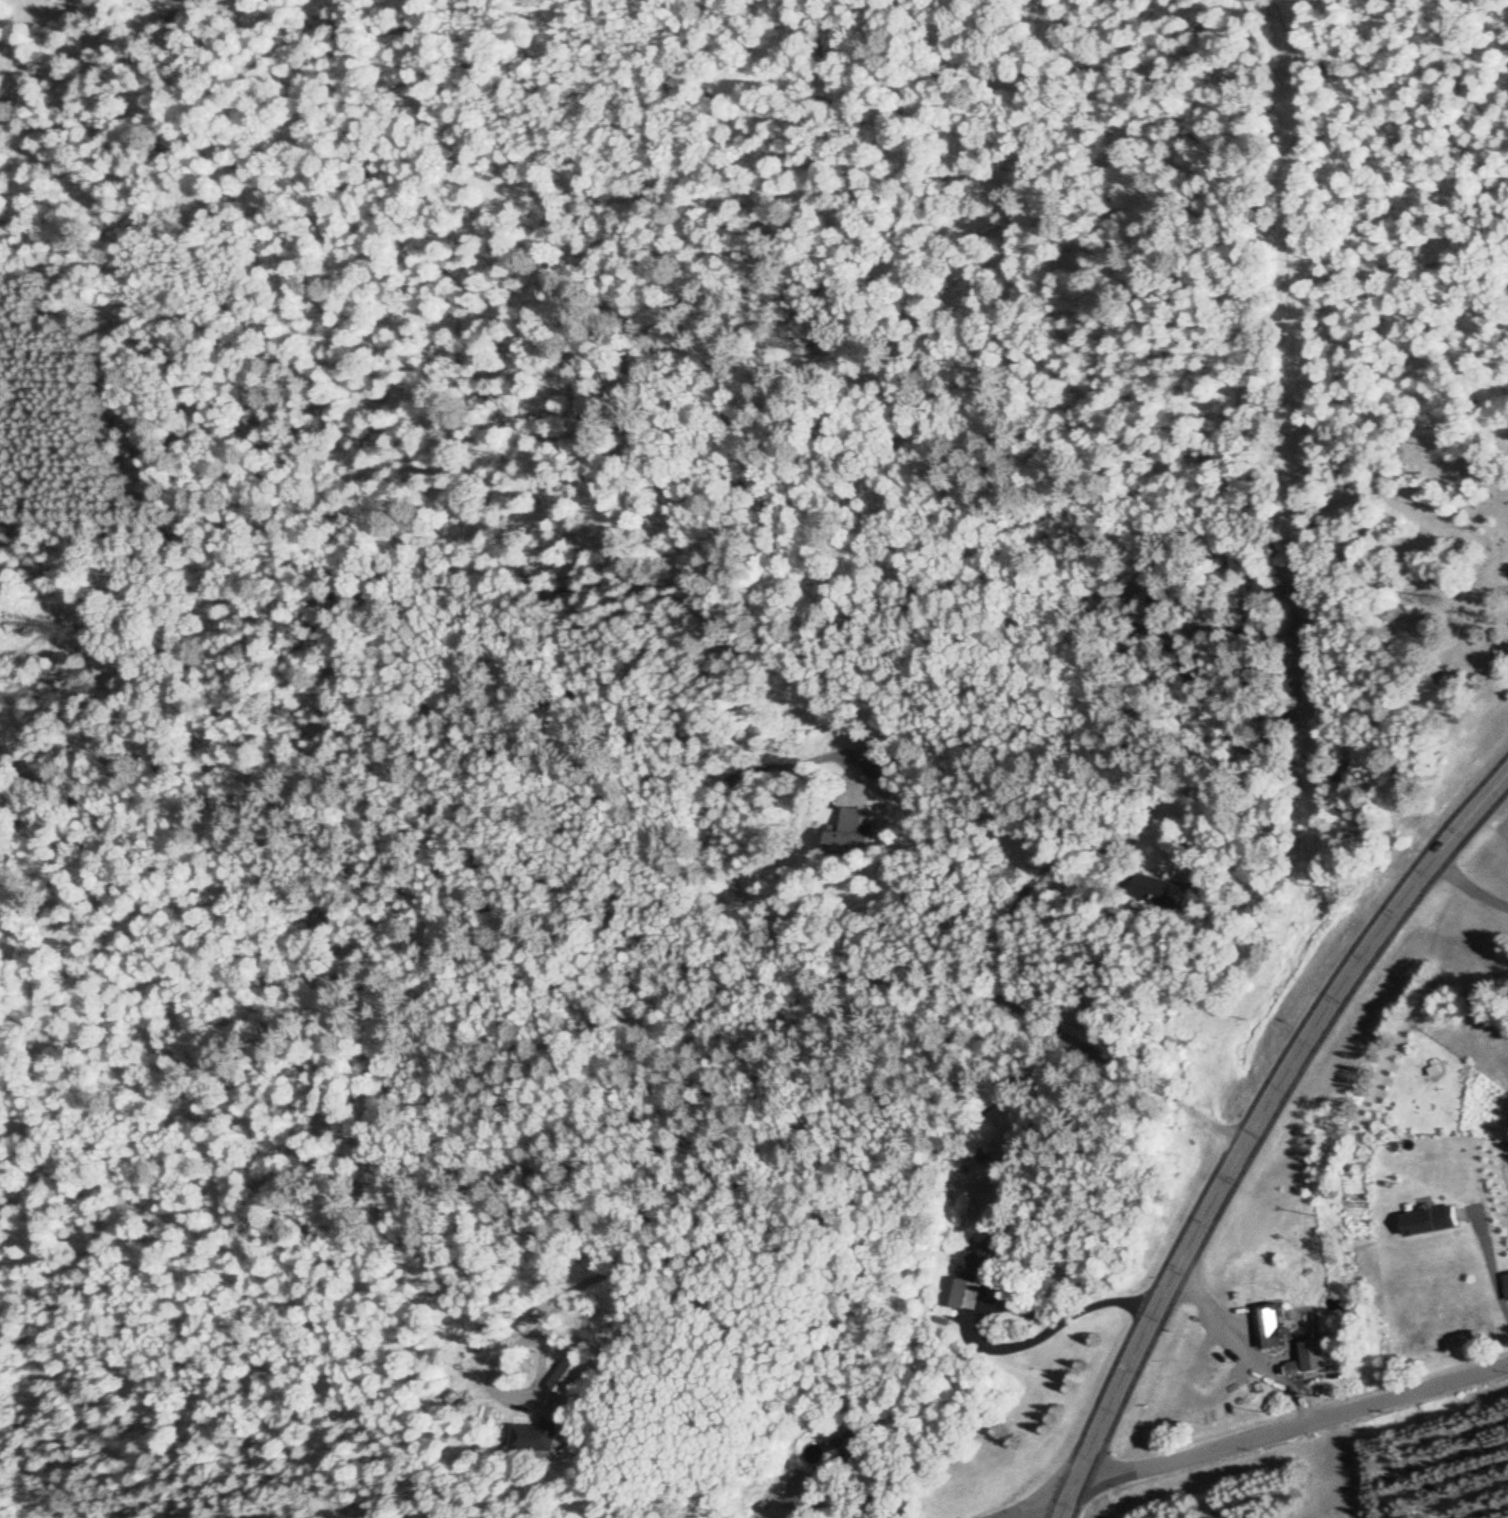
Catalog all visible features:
building: (852, 836)
building: (1161, 892)
road: (1254, 1127)
building: (1426, 1222)
building: (984, 1247)
building: (1505, 1287)
building: (959, 1293)
building: (533, 1321)
building: (1271, 1327)
road: (1247, 1344)
road: (1002, 1351)
building: (1311, 1357)
building: (567, 1378)
road: (1289, 1430)
building: (536, 1438)
building: (847, 1444)
building: (812, 1455)
road: (1040, 1505)

